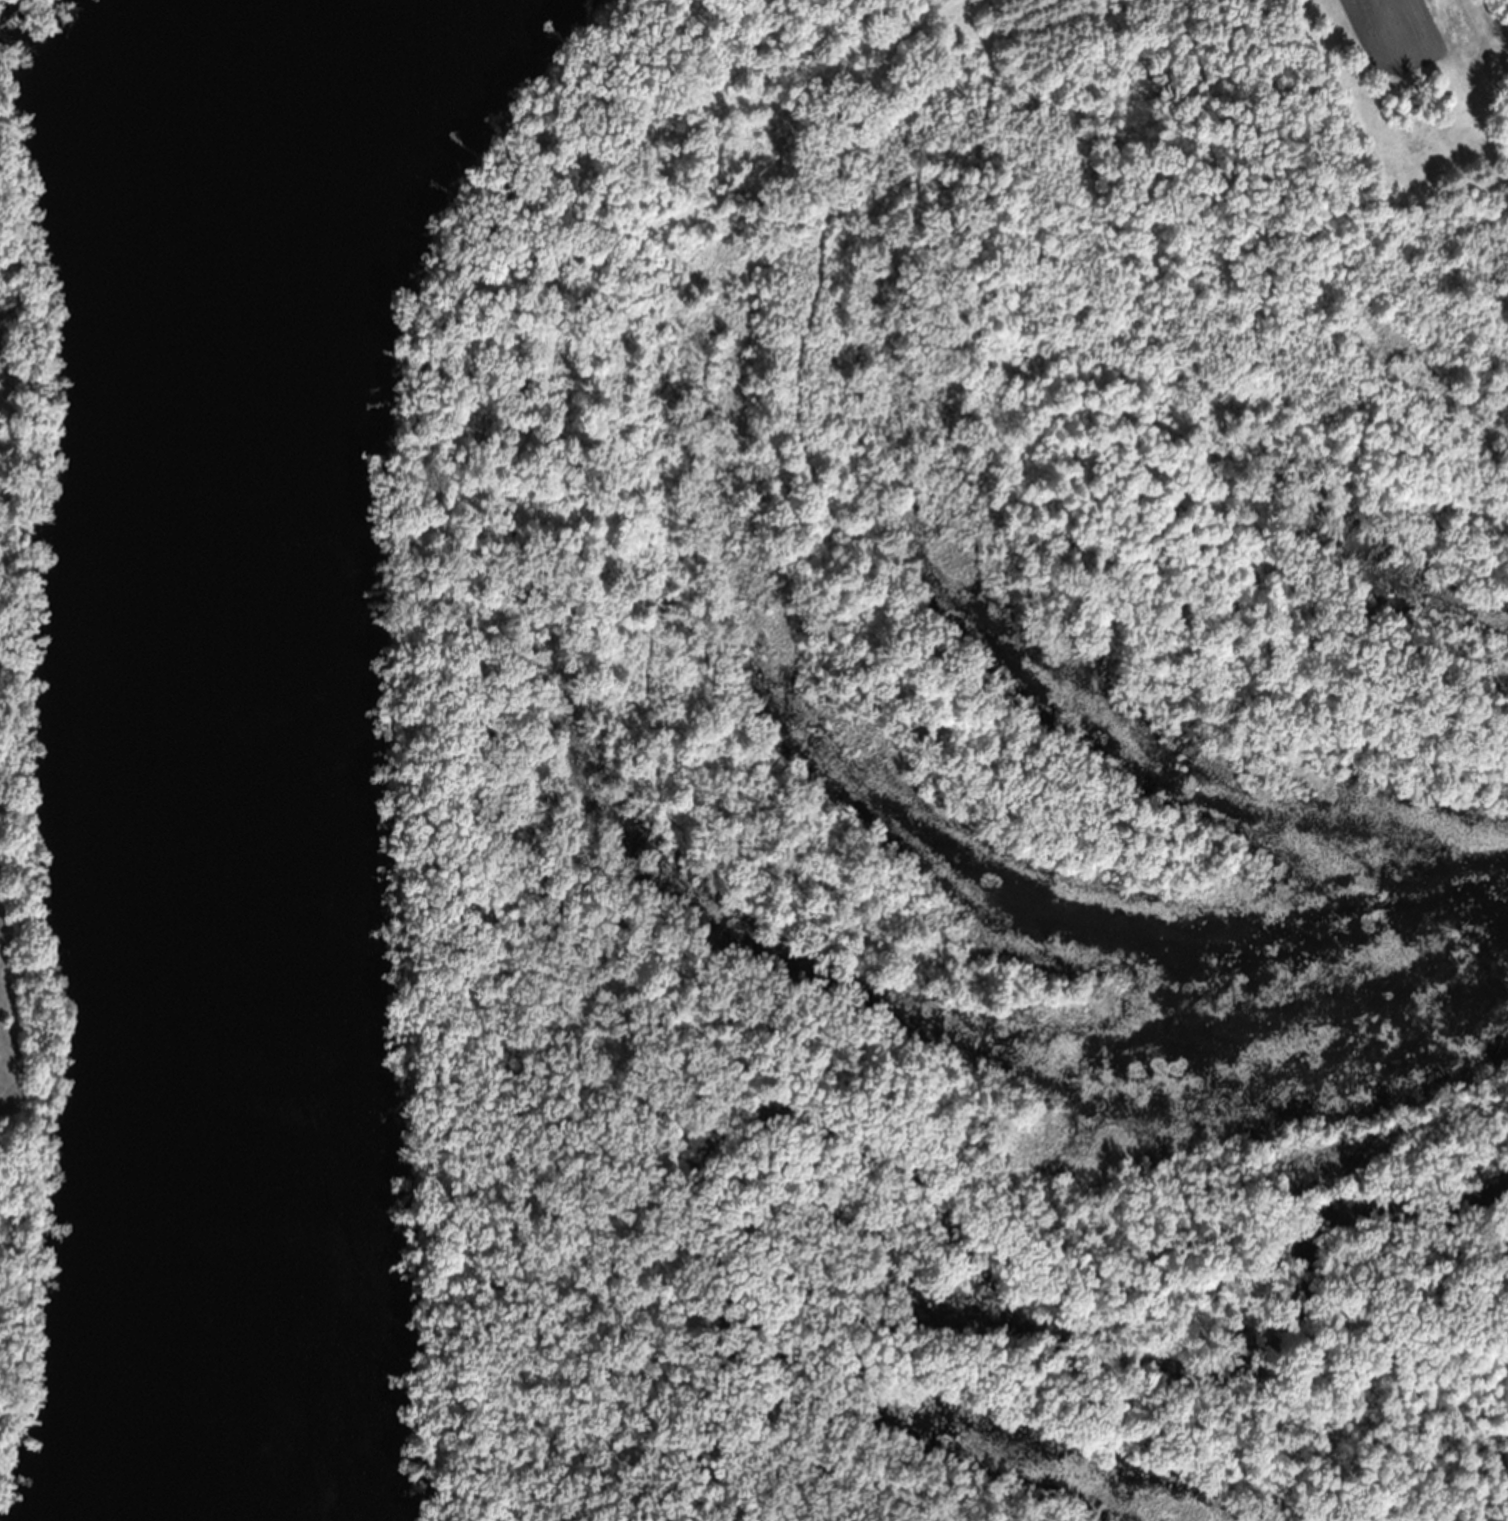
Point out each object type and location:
river: (245, 752)

